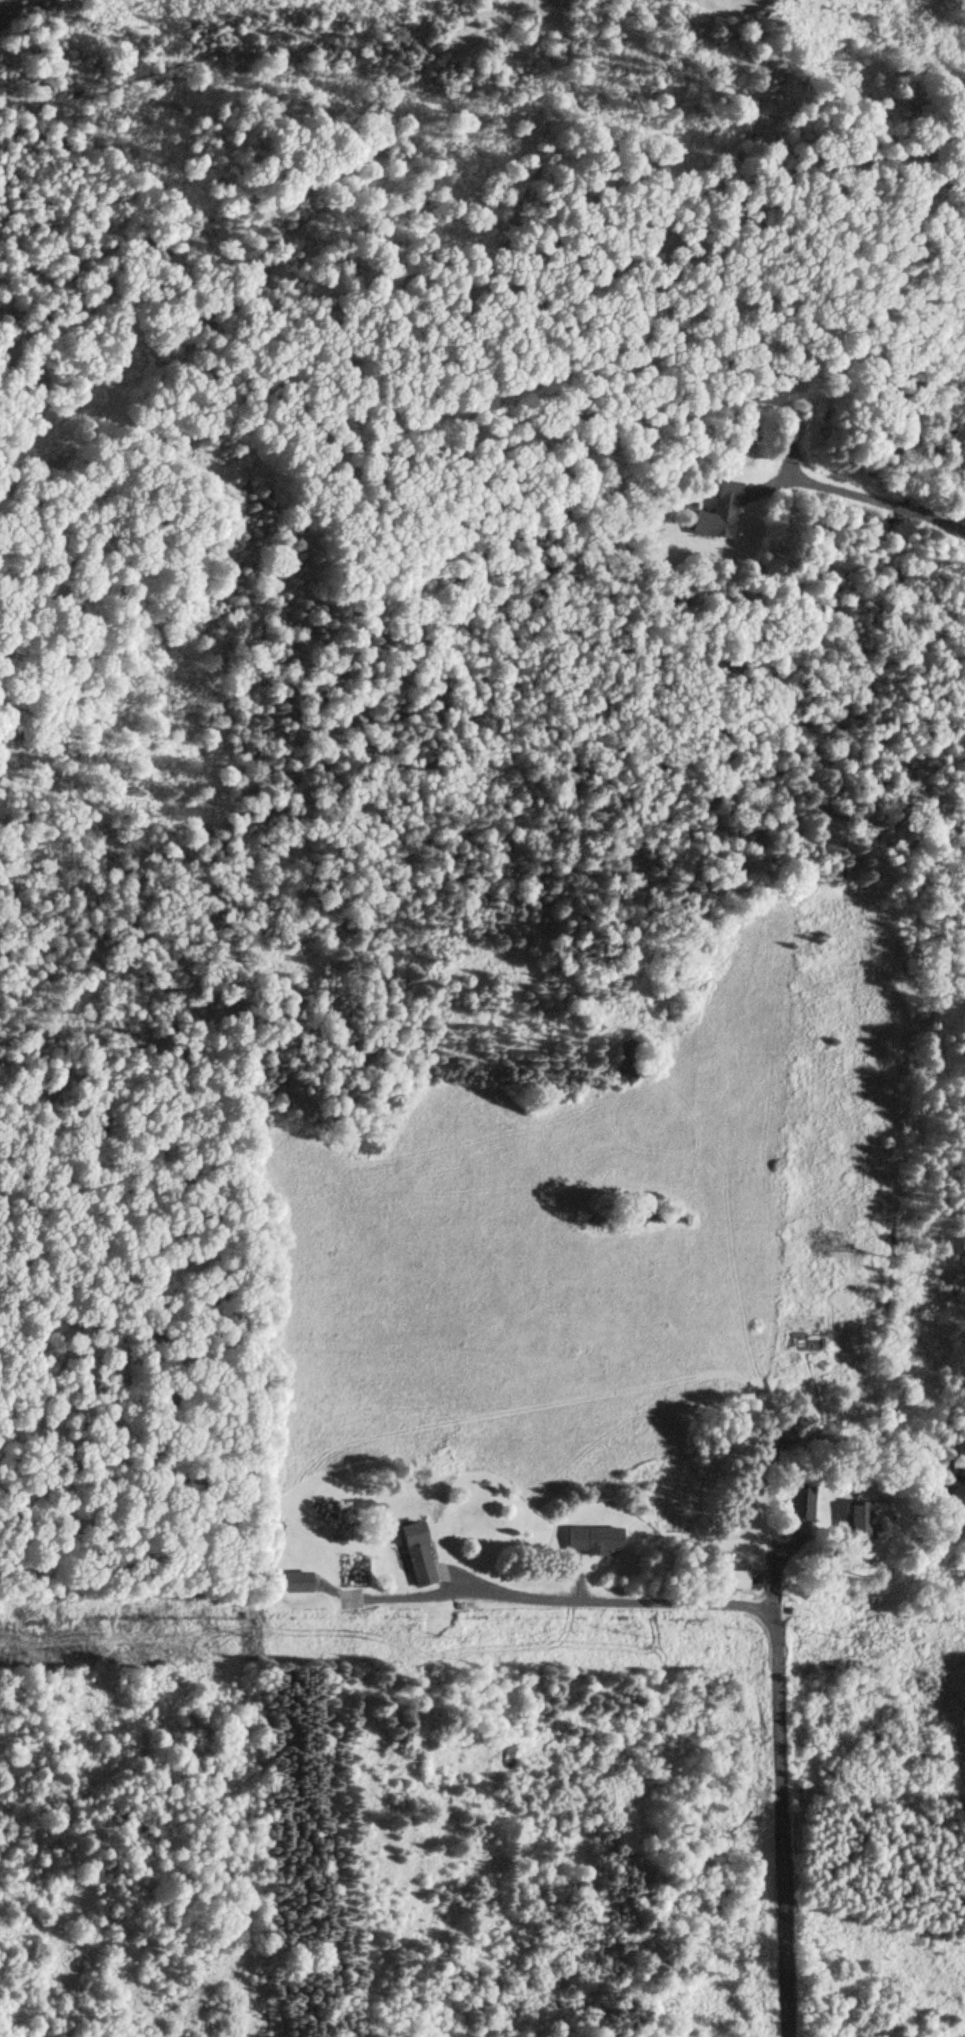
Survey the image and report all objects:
building: (717, 514)
building: (802, 1427)
building: (795, 1504)
building: (851, 1520)
building: (591, 1541)
building: (415, 1556)
building: (730, 1581)
road: (779, 1815)

